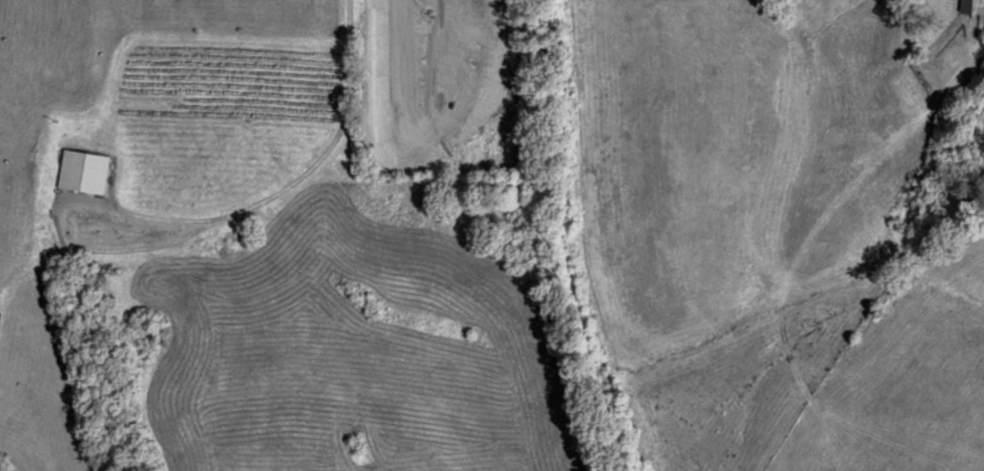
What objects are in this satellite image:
building: (971, 6)
building: (907, 85)
building: (83, 171)

